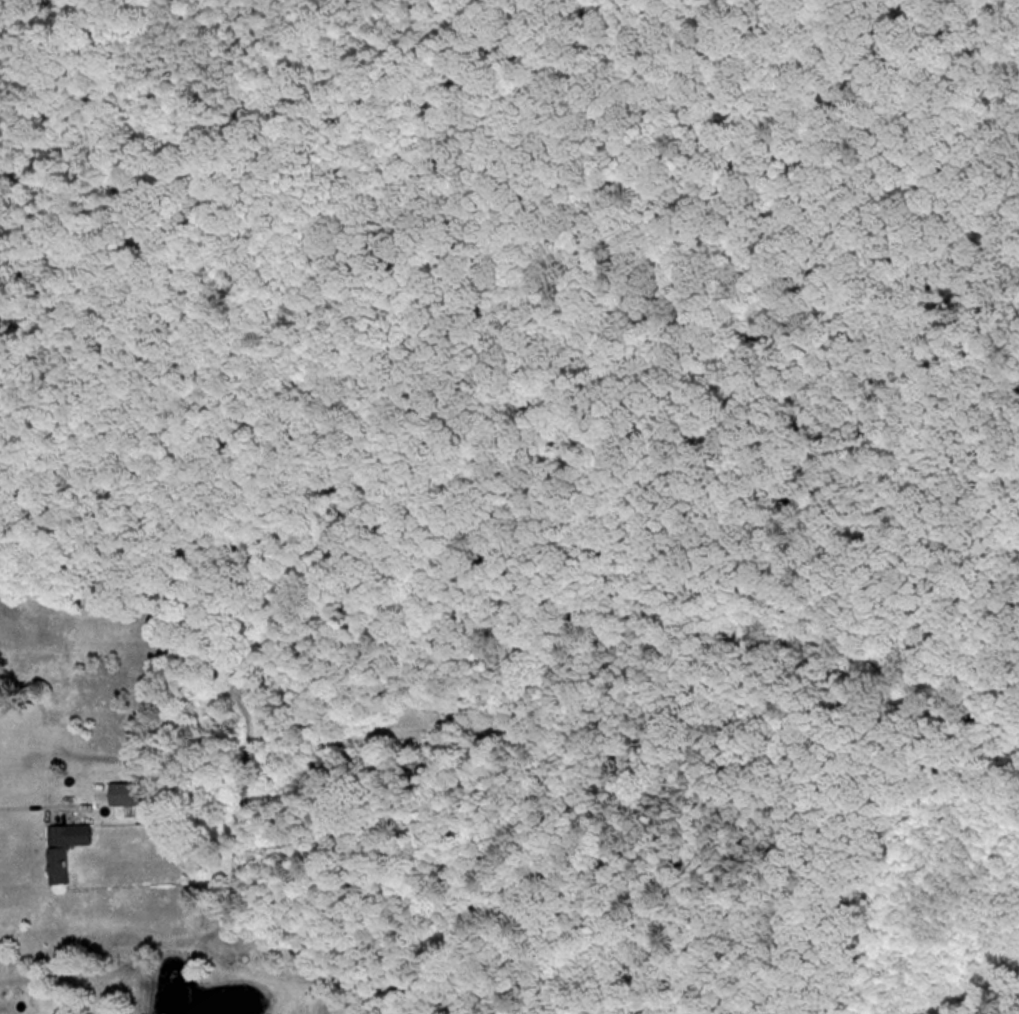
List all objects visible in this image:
park: (562, 353)
building: (127, 793)
road: (21, 800)
building: (64, 849)
building: (159, 1006)

